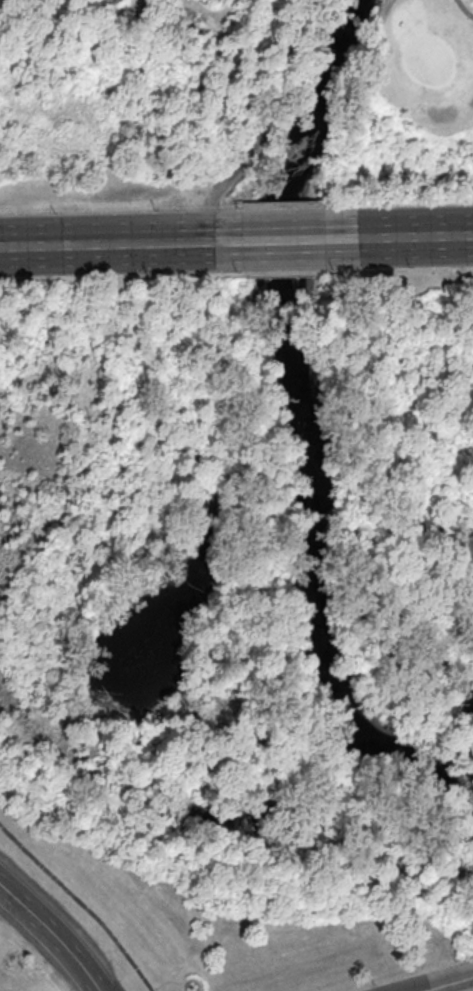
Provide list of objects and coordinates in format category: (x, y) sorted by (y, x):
road: (463, 8)
park: (281, 85)
road: (257, 123)
park: (84, 140)
road: (399, 237)
road: (283, 240)
road: (119, 243)
river: (283, 347)
park: (237, 638)
river: (407, 754)
road: (80, 906)
road: (51, 937)
road: (190, 977)
road: (470, 978)
road: (165, 981)
road: (445, 985)

